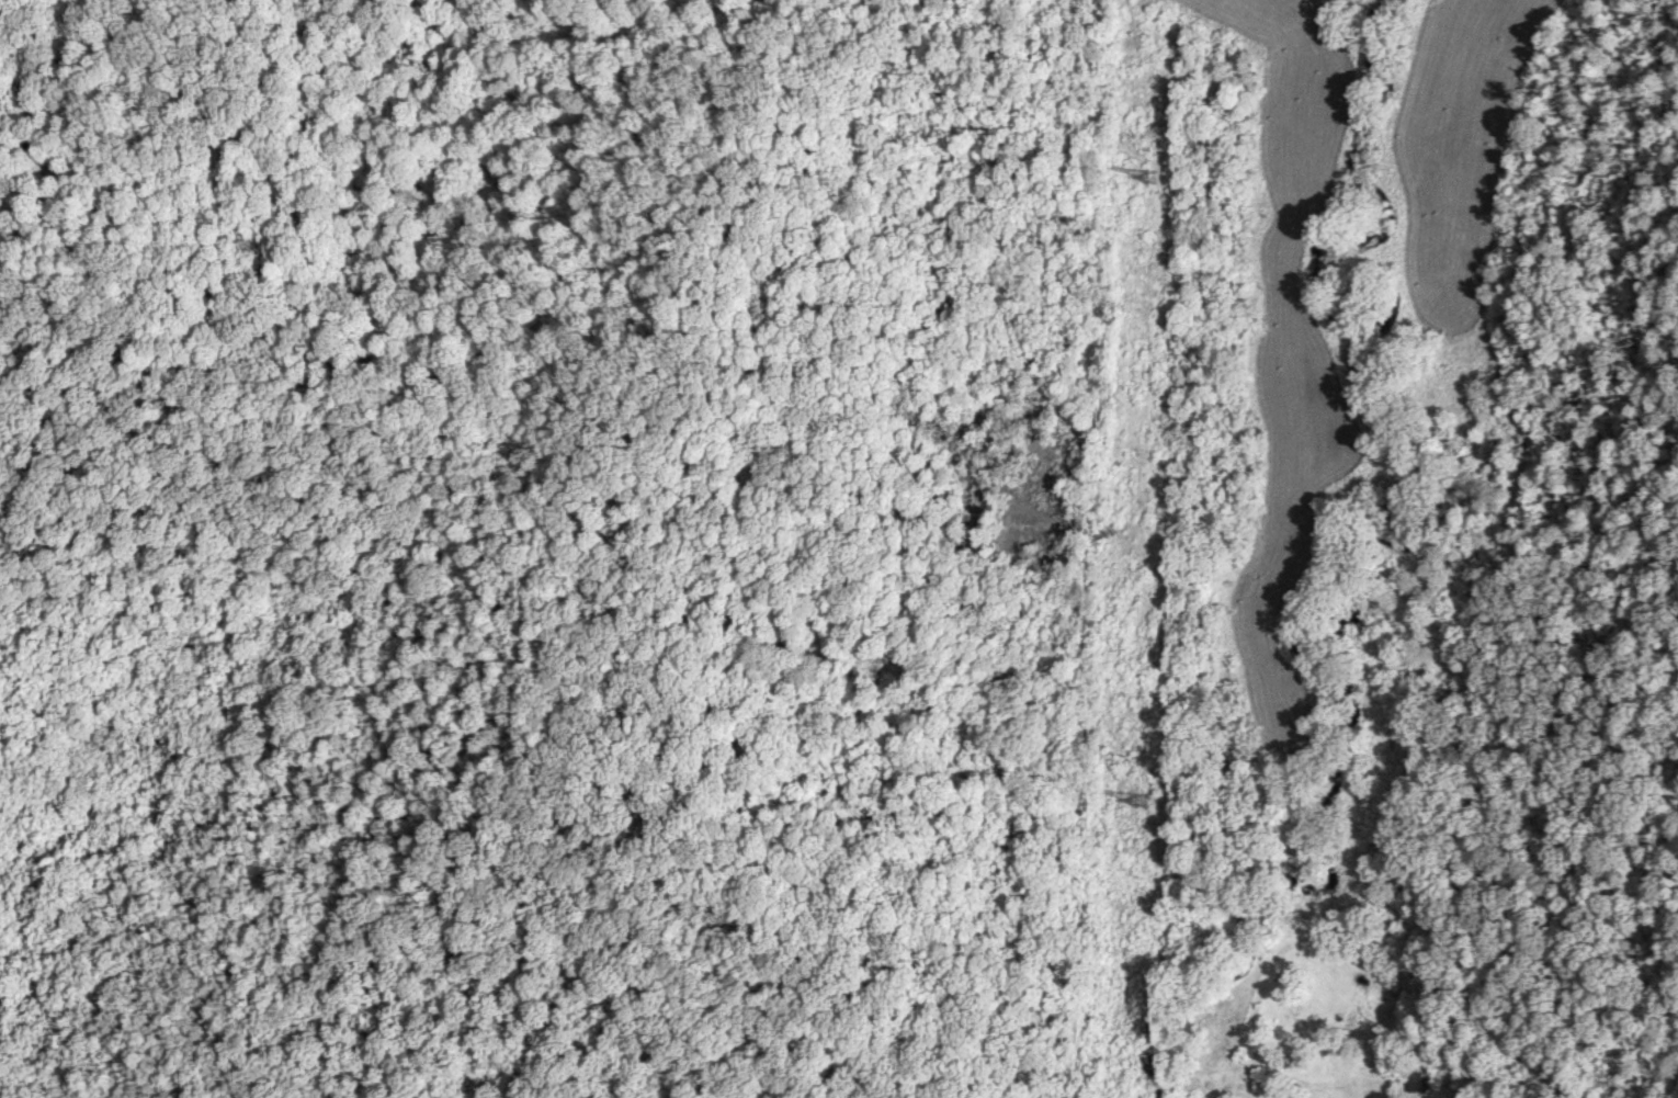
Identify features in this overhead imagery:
power tower: (1148, 180)
power tower: (1140, 797)
building: (1417, 1079)

